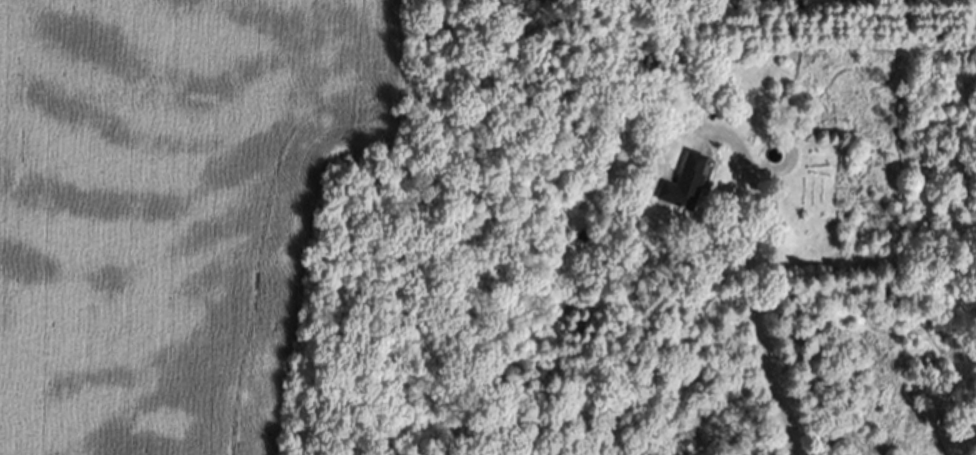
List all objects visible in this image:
building: (685, 182)
road: (749, 286)

